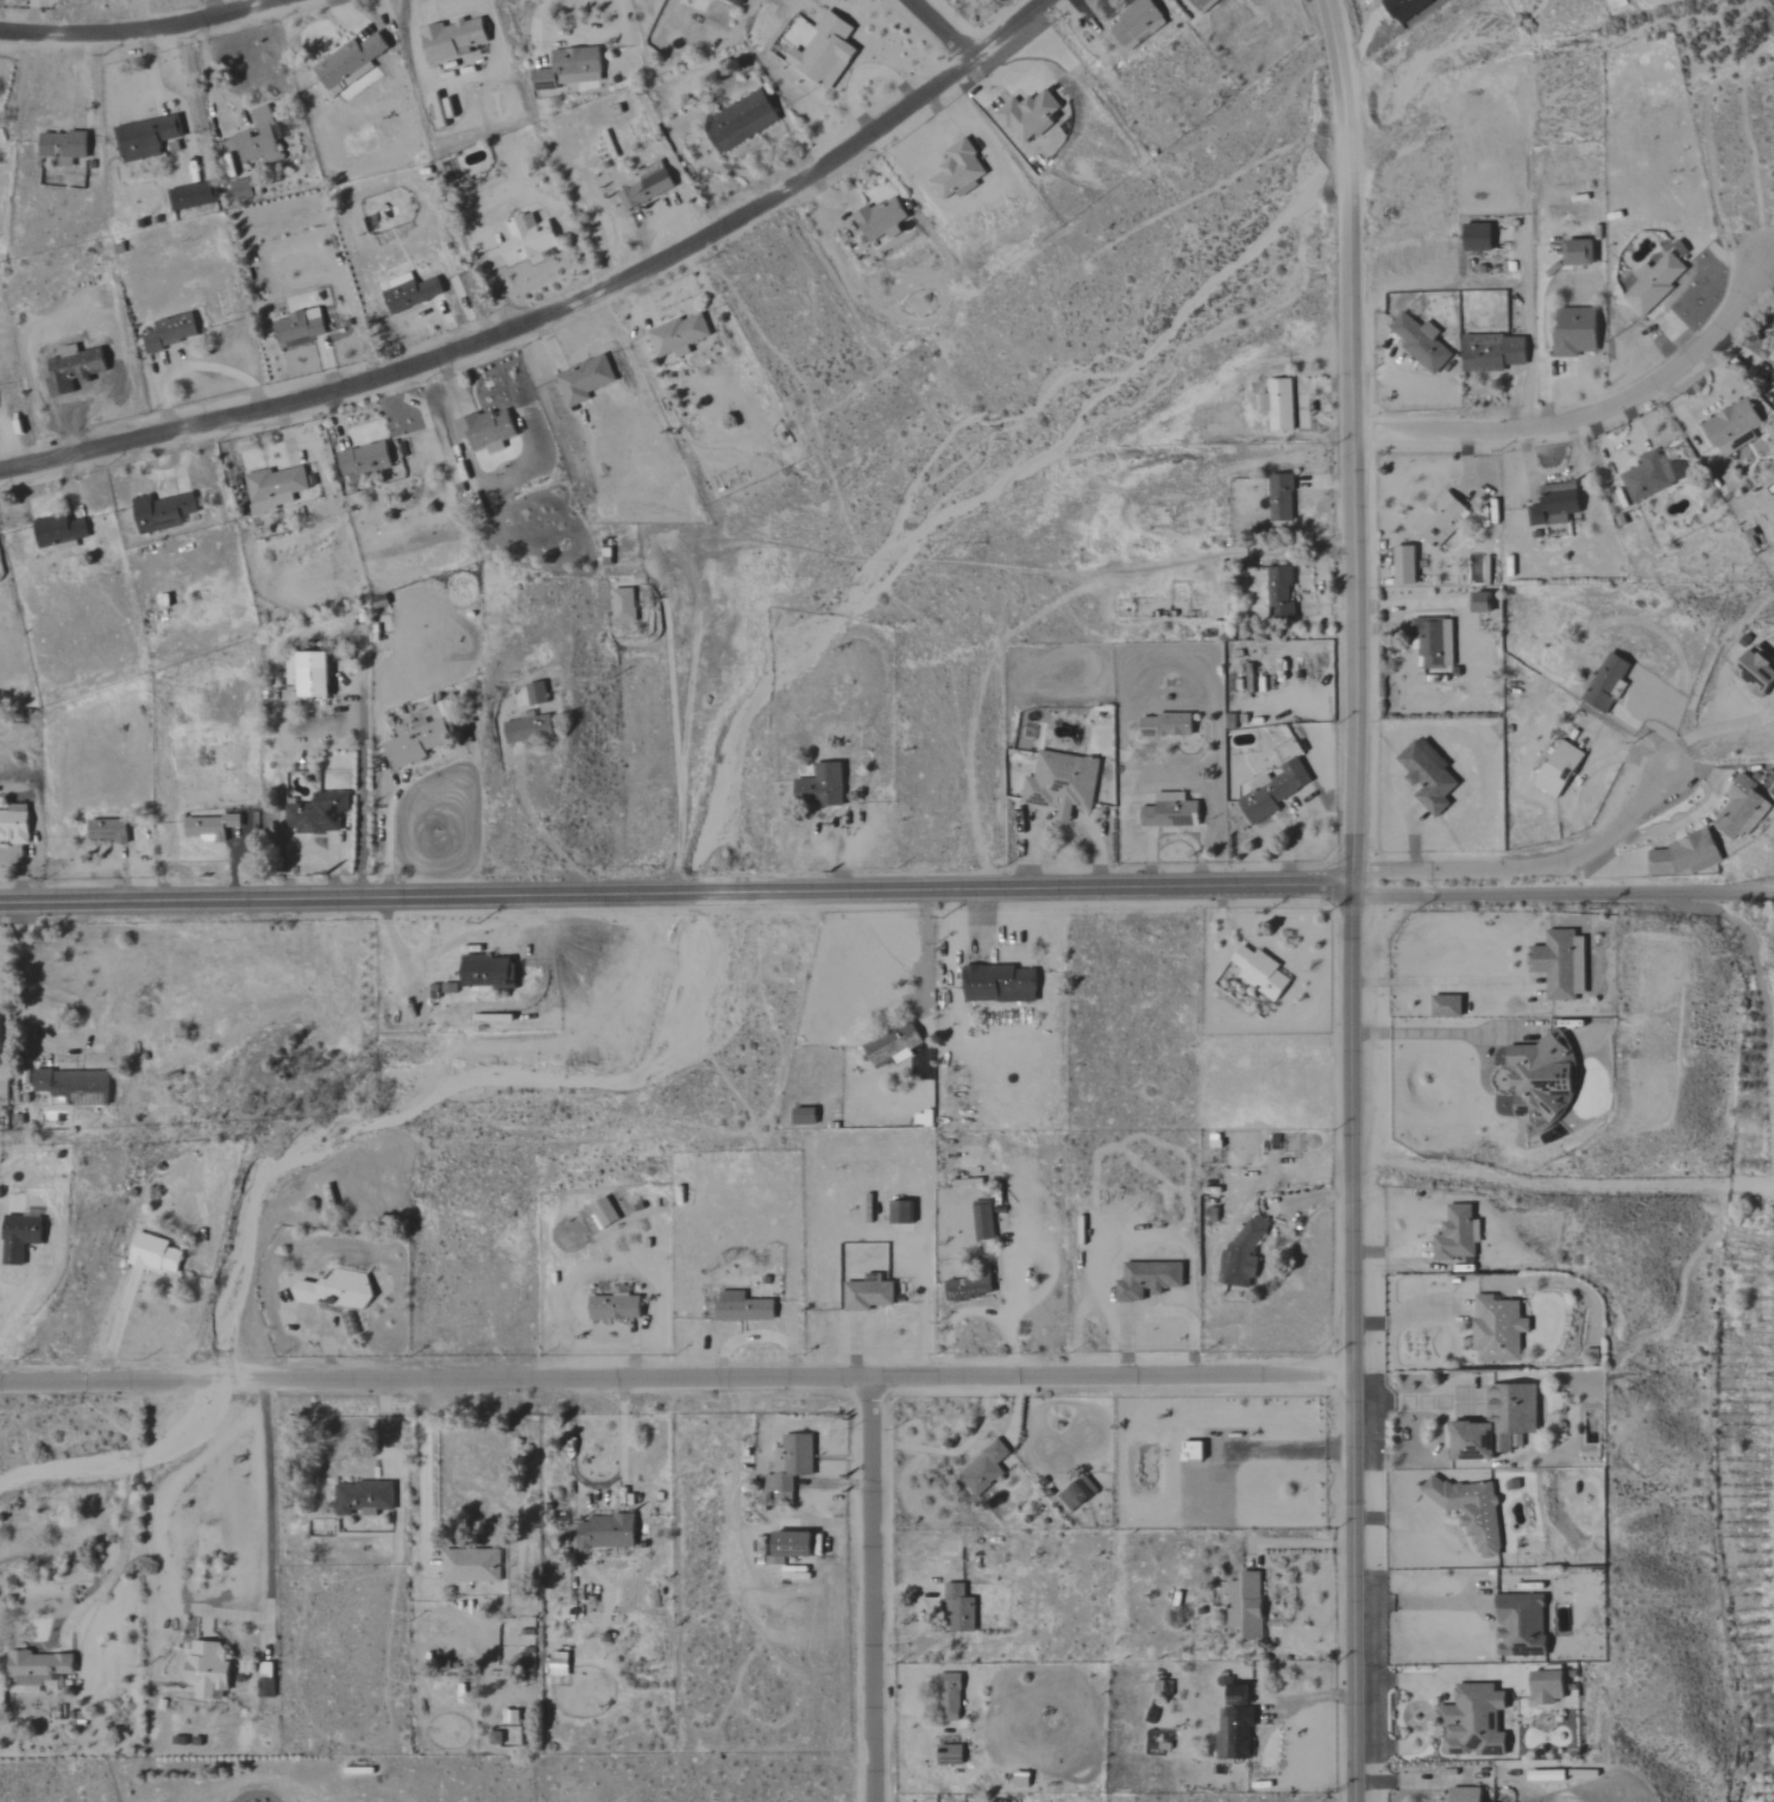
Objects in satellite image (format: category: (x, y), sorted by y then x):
building: (736, 2)
building: (1201, 4)
building: (1407, 8)
building: (1136, 20)
road: (941, 30)
road: (141, 31)
road: (534, 31)
building: (454, 39)
building: (826, 52)
building: (351, 63)
building: (570, 69)
building: (1028, 114)
building: (742, 122)
building: (146, 138)
building: (260, 139)
building: (64, 145)
building: (960, 172)
building: (243, 190)
building: (193, 197)
building: (881, 218)
building: (1479, 238)
building: (528, 239)
building: (1580, 253)
building: (1655, 282)
building: (410, 292)
road: (559, 310)
building: (300, 329)
building: (1574, 330)
building: (172, 333)
building: (681, 336)
building: (1420, 342)
building: (1492, 351)
building: (1769, 376)
building: (586, 380)
building: (1279, 403)
road: (1594, 412)
building: (1732, 426)
building: (487, 431)
building: (367, 460)
building: (1648, 475)
building: (276, 489)
building: (1281, 497)
building: (1554, 504)
building: (164, 513)
building: (1440, 518)
building: (61, 533)
building: (1405, 565)
building: (1281, 591)
road: (696, 593)
building: (1482, 603)
building: (624, 605)
building: (1432, 641)
building: (1755, 670)
building: (315, 674)
building: (1608, 681)
building: (537, 693)
road: (1773, 695)
building: (1168, 725)
building: (529, 730)
road: (1711, 730)
building: (417, 744)
building: (1559, 768)
road: (1586, 773)
building: (1430, 775)
road: (361, 777)
building: (1062, 782)
building: (819, 785)
building: (1273, 789)
building: (1741, 807)
building: (1170, 811)
building: (320, 814)
building: (214, 825)
building: (14, 826)
building: (109, 830)
road: (542, 830)
road: (386, 836)
building: (1681, 855)
road: (1524, 867)
road: (673, 893)
road: (1561, 895)
road: (1350, 900)
road: (925, 951)
building: (1562, 964)
building: (489, 971)
building: (1262, 972)
road: (1438, 983)
building: (1001, 984)
building: (1448, 1006)
building: (0, 1023)
road: (1442, 1035)
building: (894, 1045)
building: (1543, 1082)
building: (76, 1086)
building: (604, 1212)
building: (902, 1212)
building: (984, 1220)
building: (1459, 1235)
building: (20, 1237)
building: (156, 1254)
building: (1244, 1255)
building: (1149, 1280)
building: (970, 1289)
building: (341, 1290)
building: (869, 1293)
road: (24, 1300)
building: (617, 1306)
building: (744, 1308)
road: (114, 1328)
building: (1499, 1329)
road: (677, 1378)
road: (1410, 1400)
building: (1499, 1425)
building: (1195, 1451)
building: (793, 1466)
road: (422, 1467)
building: (986, 1469)
road: (268, 1488)
building: (1080, 1494)
building: (360, 1499)
road: (130, 1507)
building: (1474, 1512)
building: (608, 1532)
building: (795, 1545)
building: (473, 1567)
road: (874, 1589)
road: (1422, 1602)
building: (1247, 1605)
building: (961, 1609)
building: (1523, 1626)
building: (560, 1664)
building: (39, 1670)
building: (208, 1671)
building: (268, 1681)
building: (1553, 1687)
building: (950, 1697)
building: (1476, 1721)
building: (1237, 1726)
building: (496, 1738)
building: (951, 1754)
building: (1552, 1776)
building: (1023, 1781)
building: (1467, 1795)

